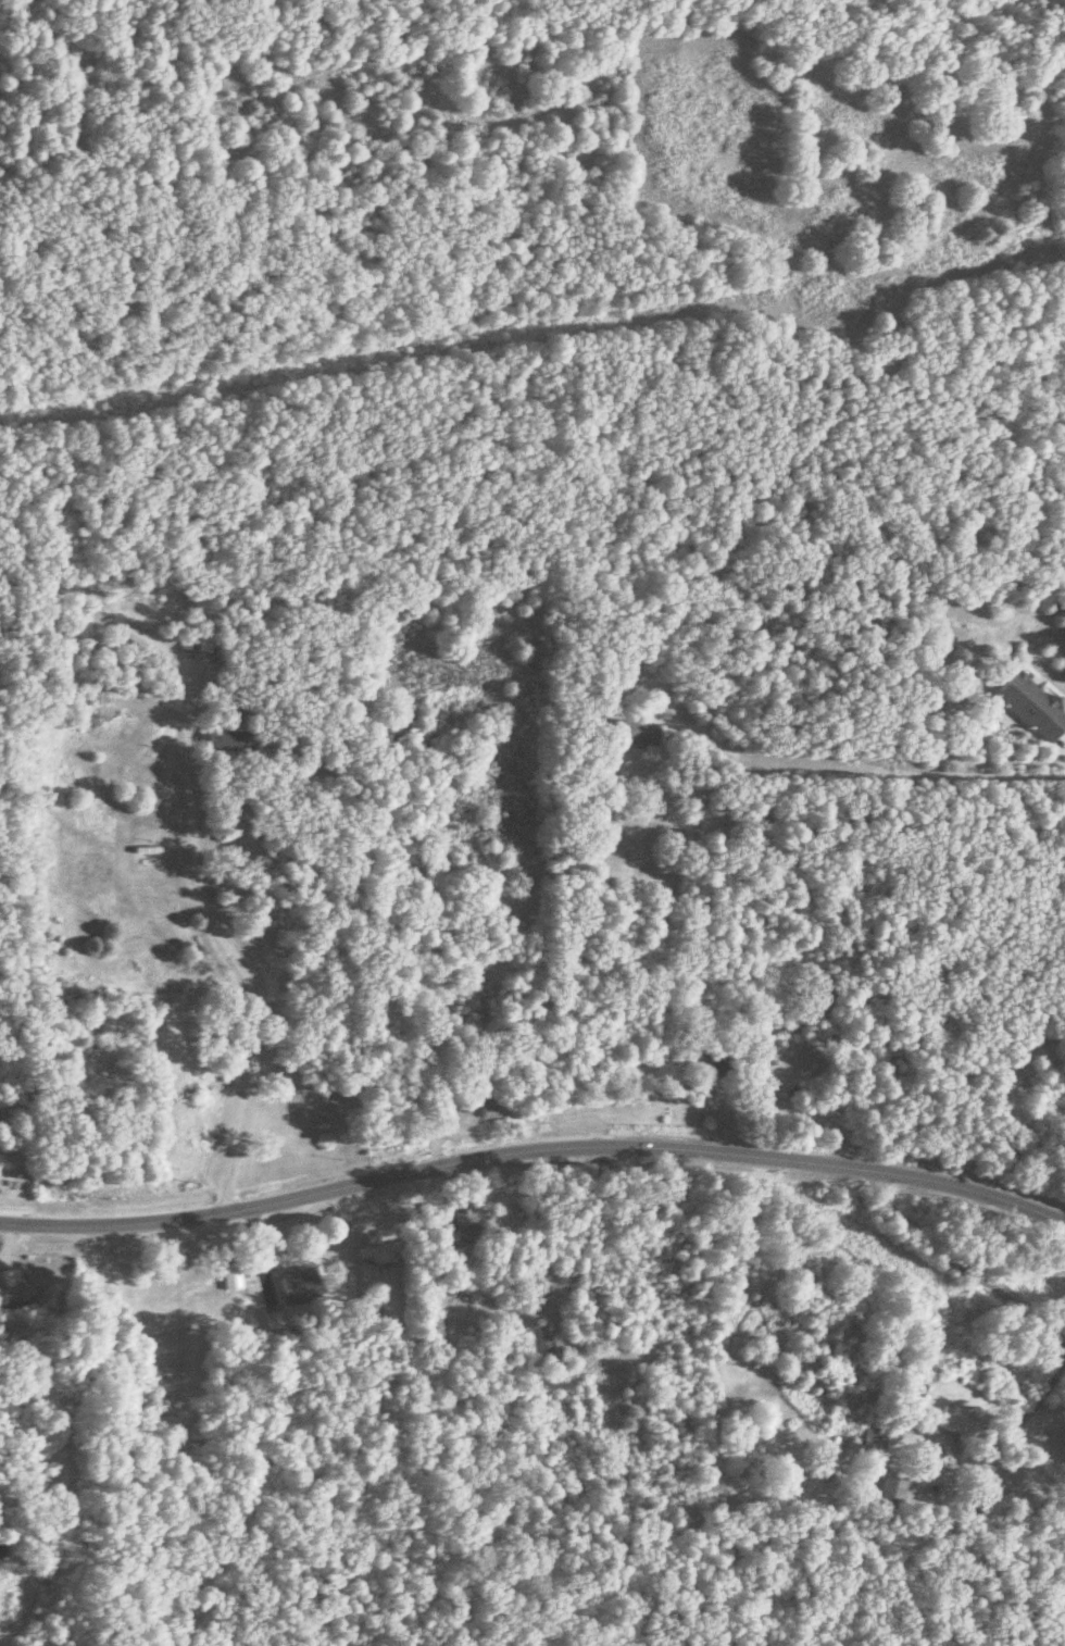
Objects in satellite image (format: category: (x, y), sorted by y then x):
building: (118, 679)
building: (1027, 703)
building: (638, 731)
building: (229, 735)
road: (867, 772)
road: (205, 915)
road: (534, 1151)
building: (376, 1254)
building: (229, 1277)
building: (299, 1285)
building: (47, 1287)
road: (1011, 1306)
building: (7, 1307)
building: (271, 1322)
building: (428, 1331)
building: (955, 1424)
building: (869, 1443)
building: (888, 1492)
building: (990, 1507)

